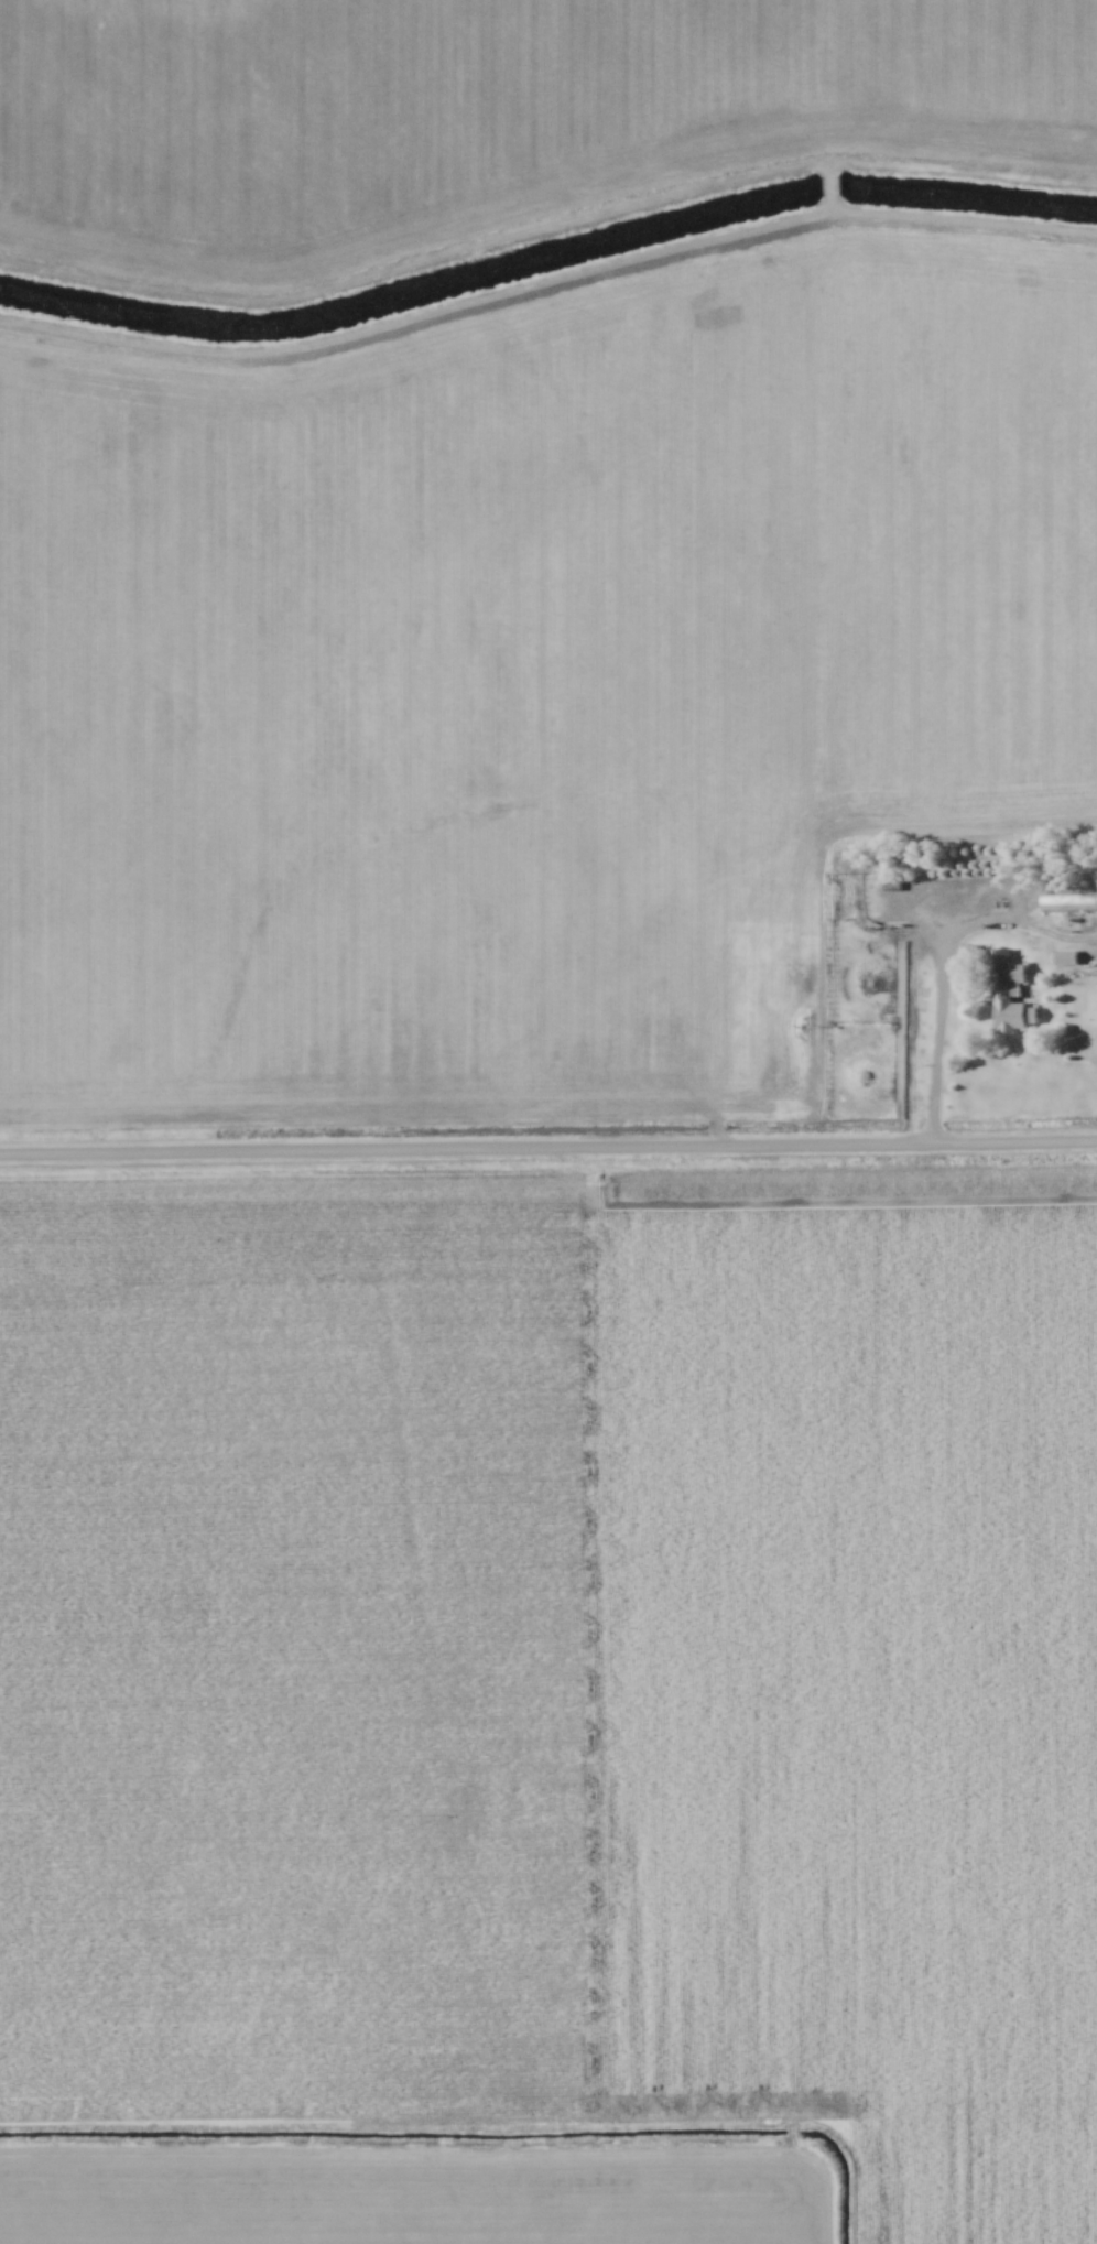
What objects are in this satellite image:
crop: (477, 112)
crop: (517, 668)
building: (891, 881)
building: (1068, 899)
building: (1063, 956)
building: (1006, 989)
road: (935, 1042)
road: (547, 1145)
crop: (548, 1706)

